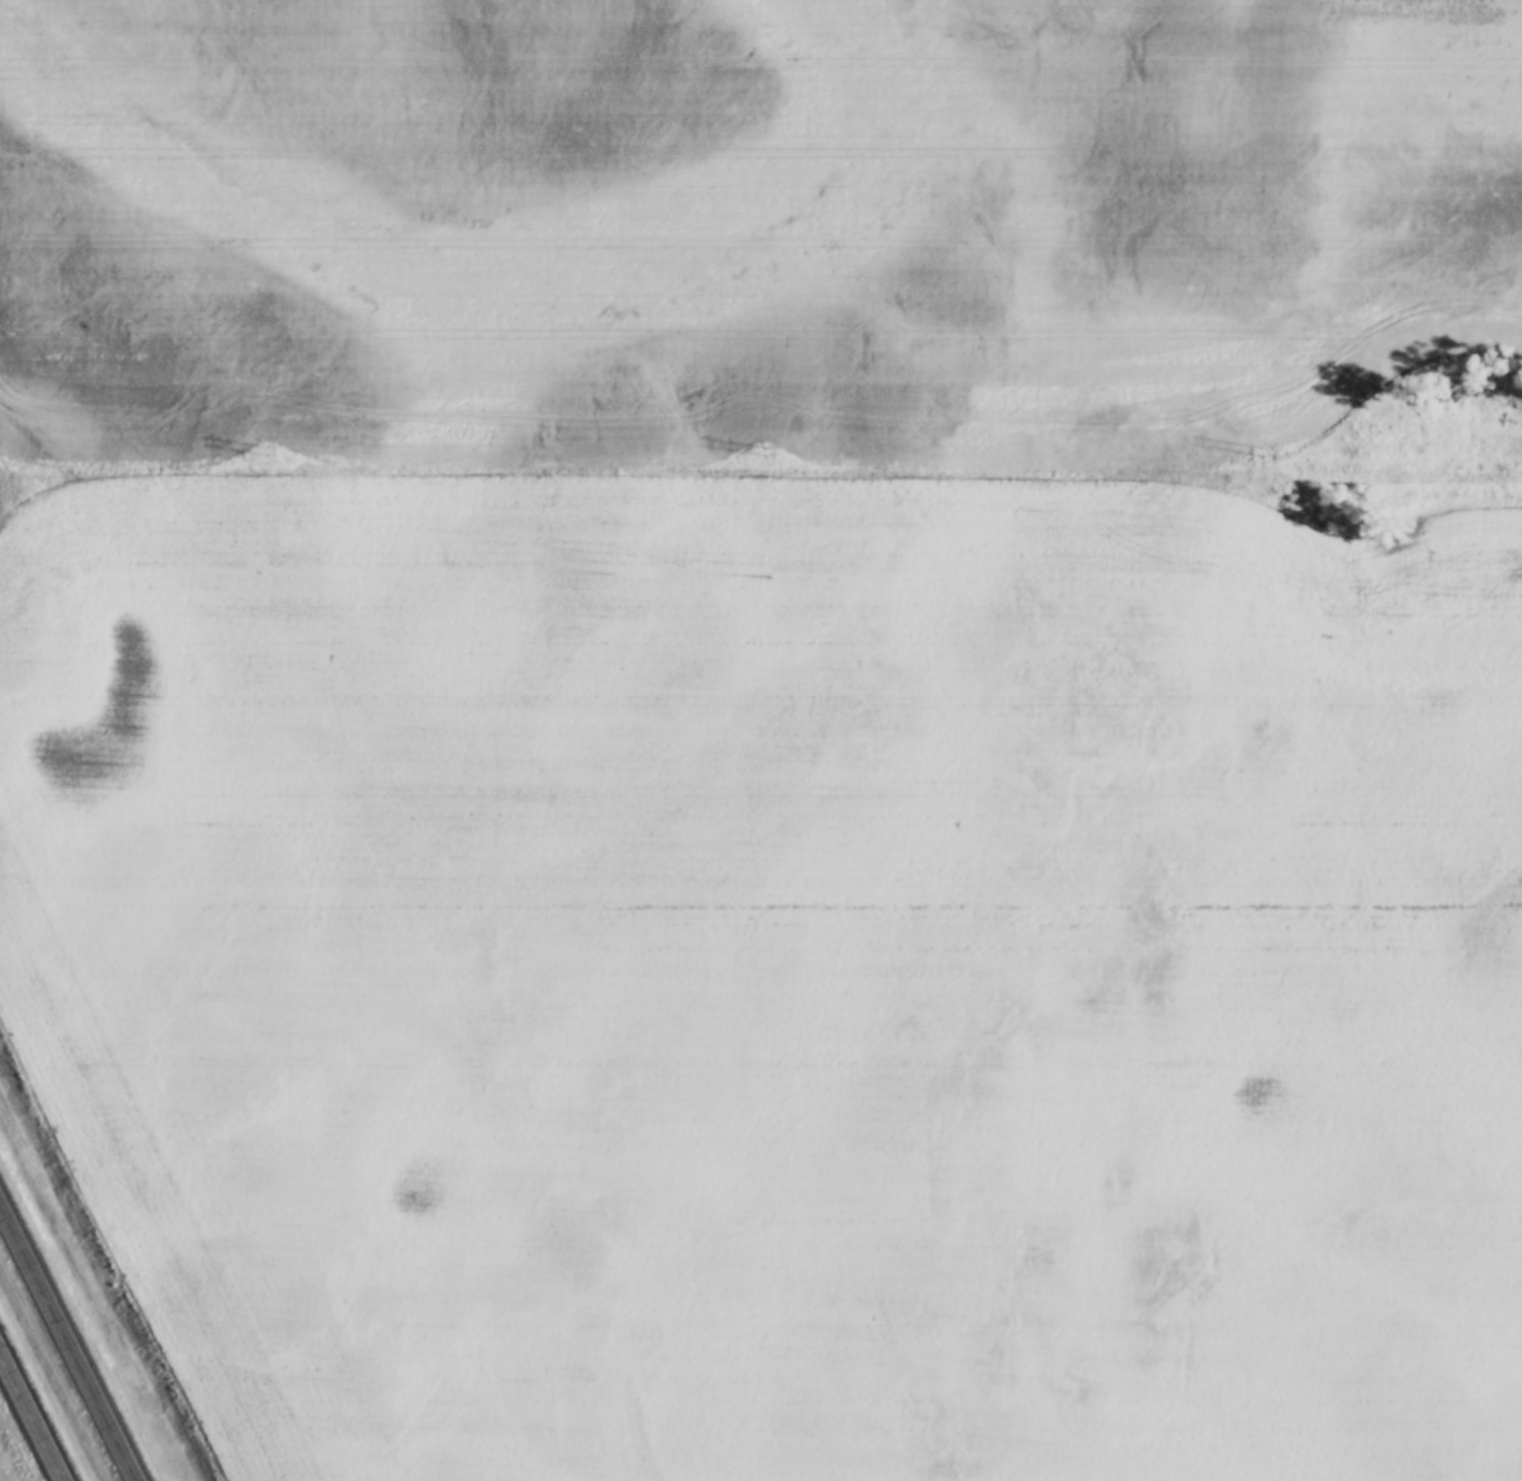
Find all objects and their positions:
road: (69, 1340)
road: (31, 1418)

